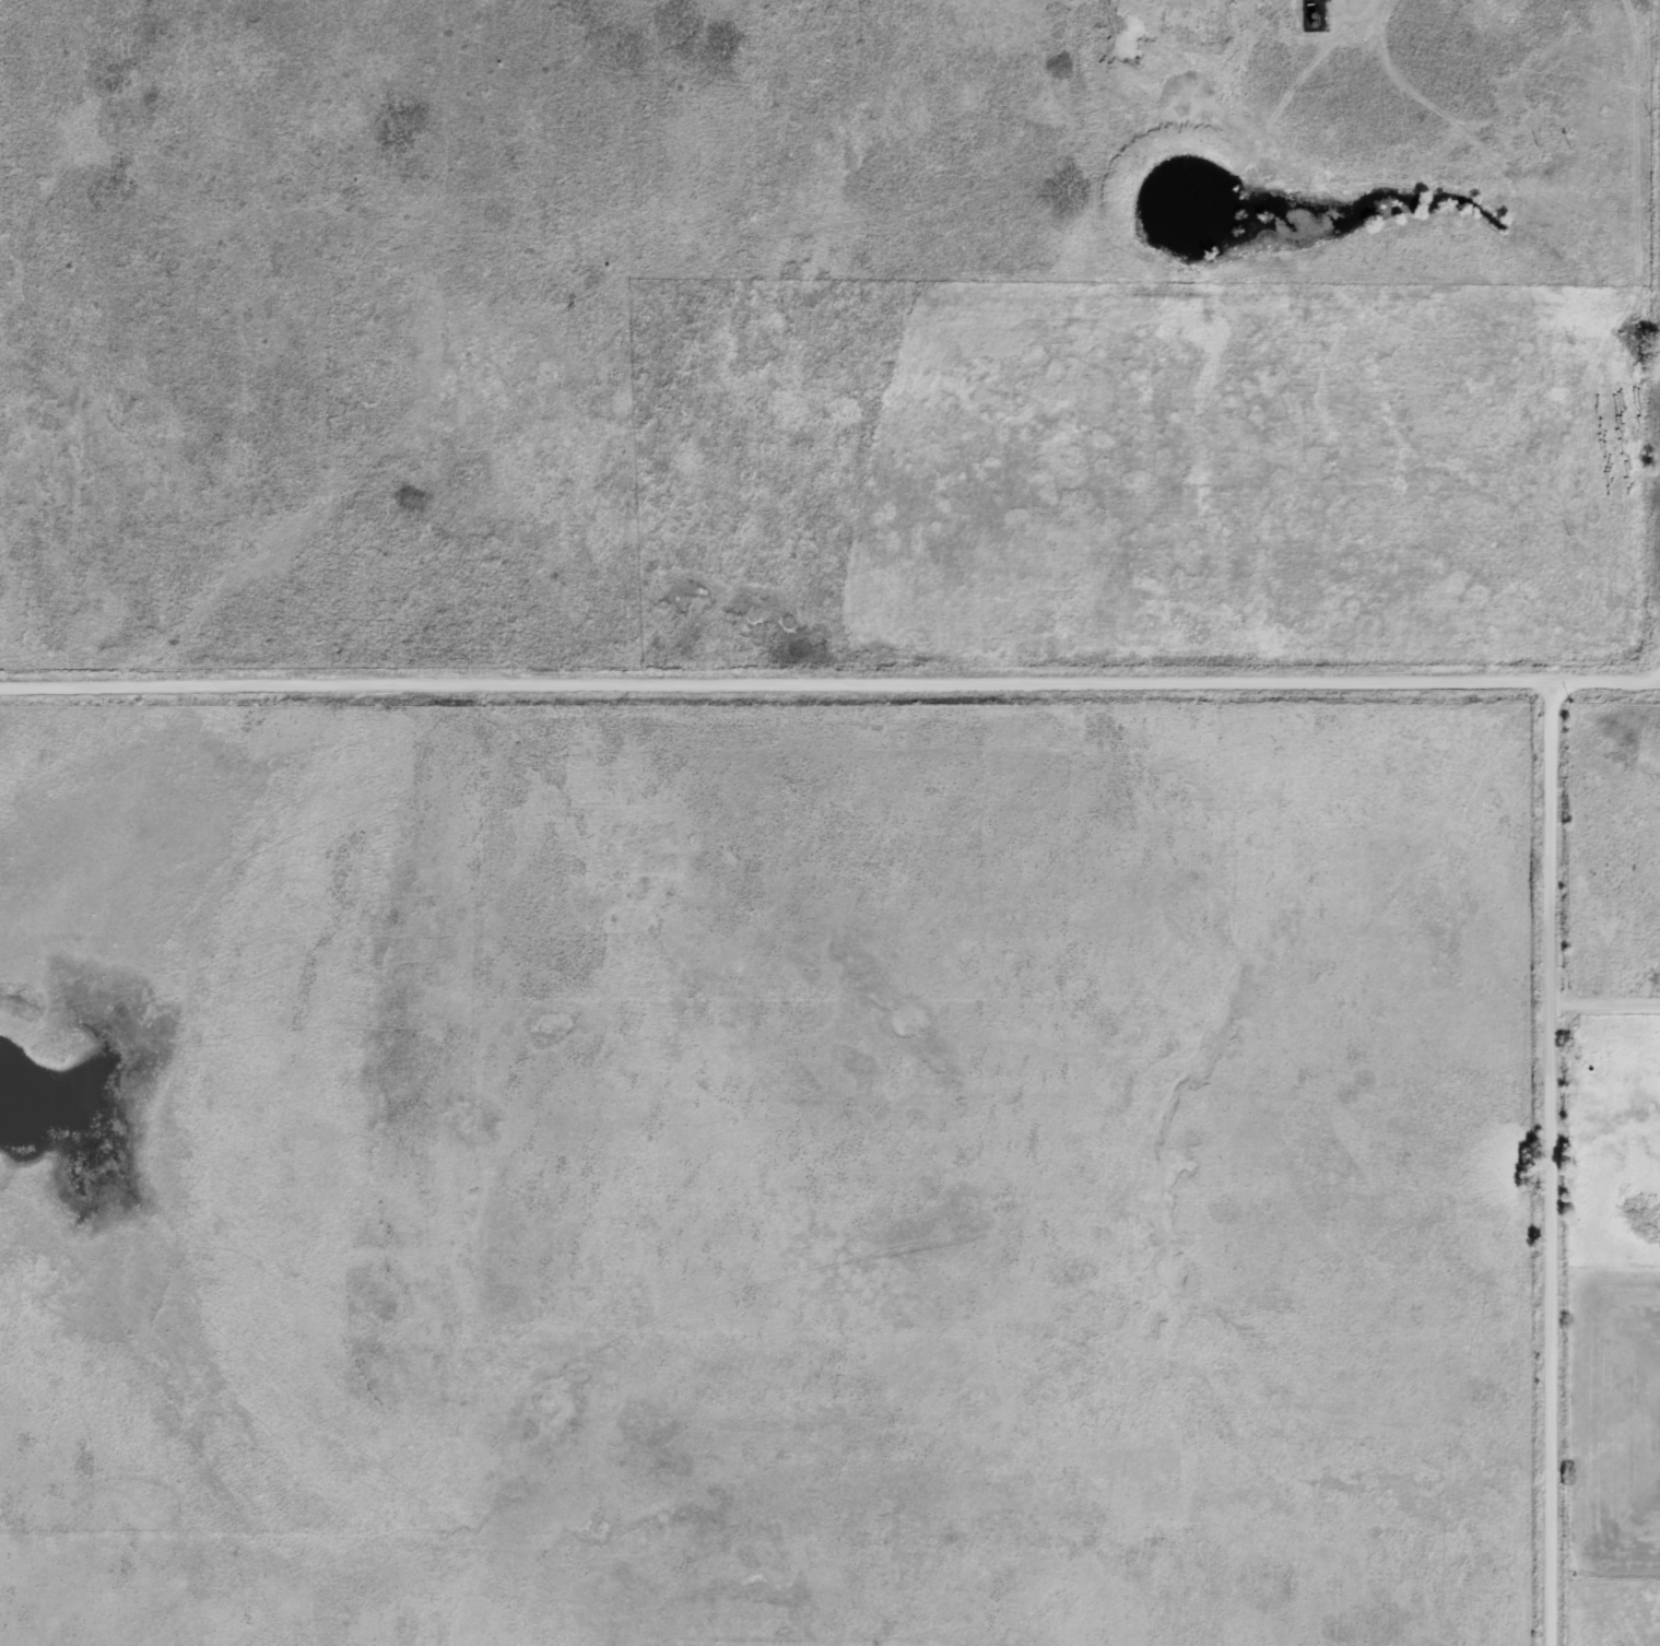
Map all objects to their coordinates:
road: (829, 681)
road: (1554, 1162)

